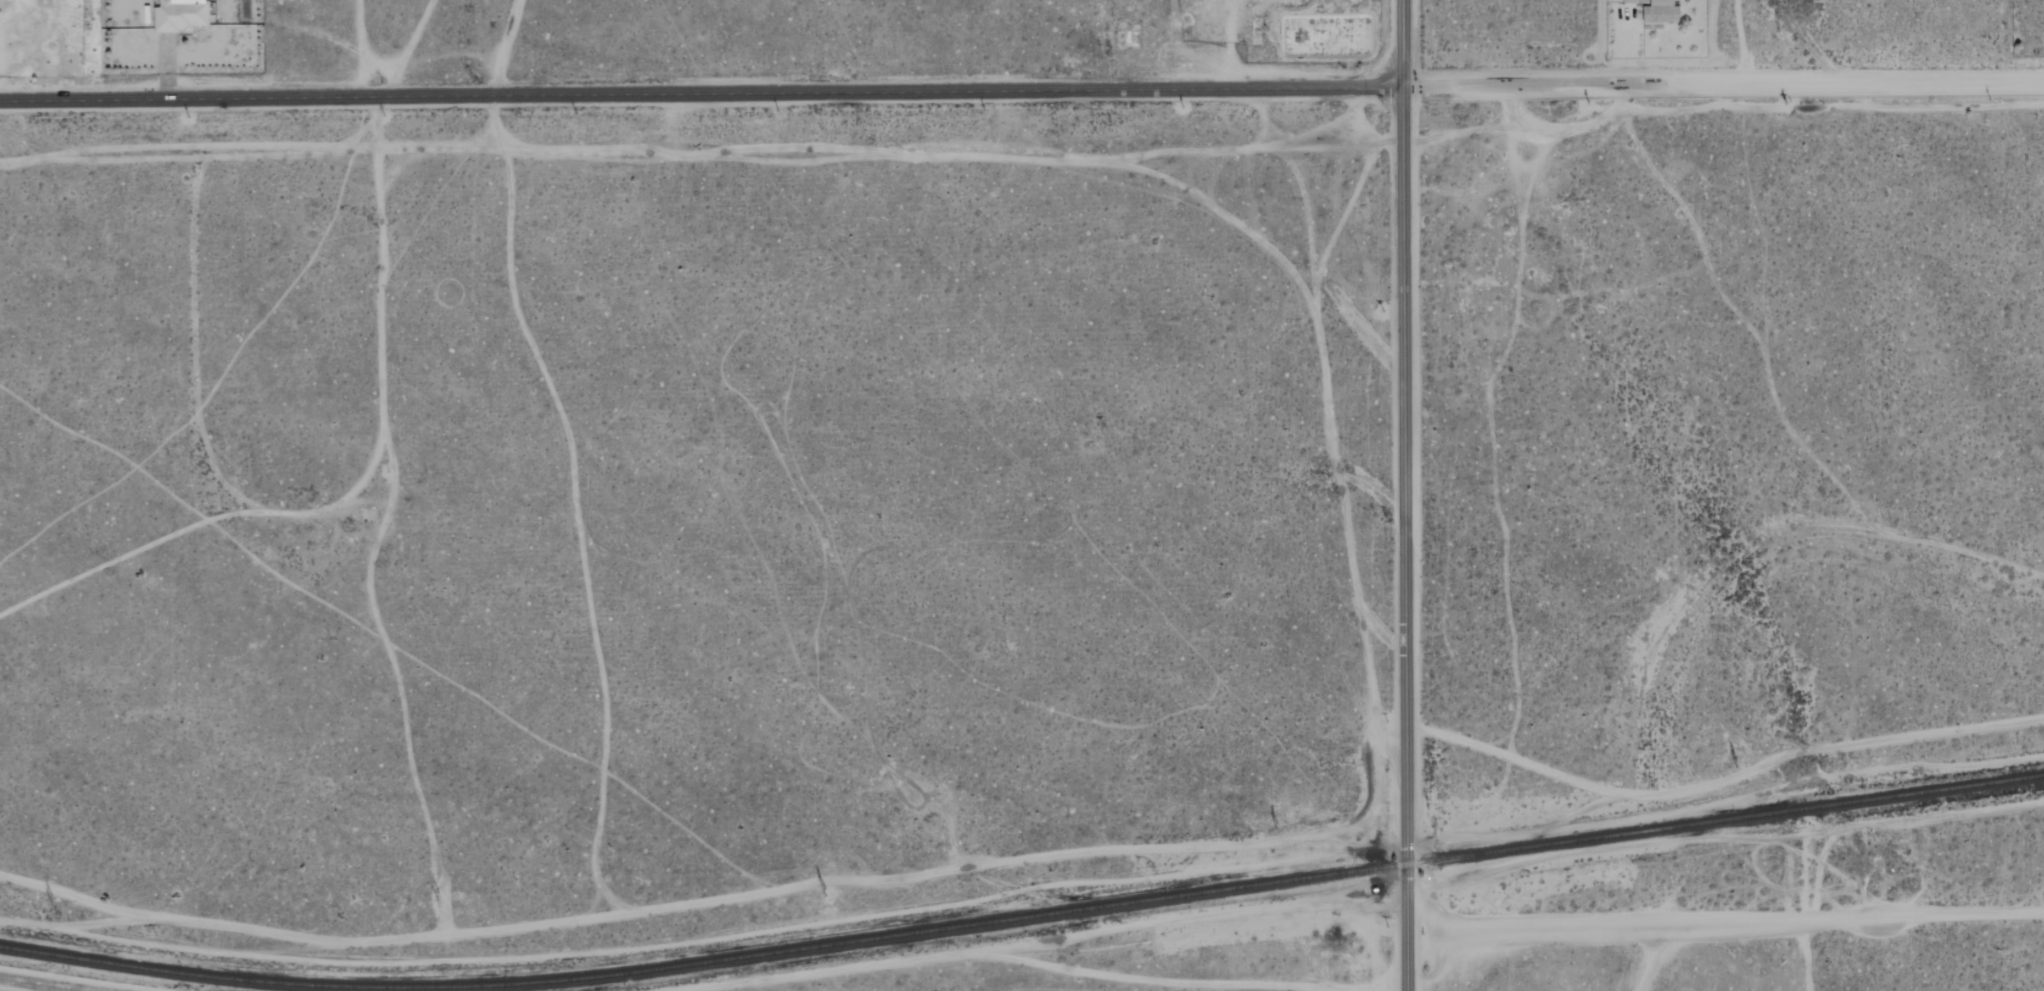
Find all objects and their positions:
building: (1629, 1)
building: (1660, 12)
building: (179, 15)
road: (1402, 43)
road: (1630, 48)
road: (1722, 80)
road: (701, 93)
road: (1404, 538)
power tower: (1739, 763)
power tower: (1282, 825)
power tower: (820, 891)
power tower: (437, 894)
power tower: (47, 899)
road: (1725, 917)
railway: (1023, 921)

